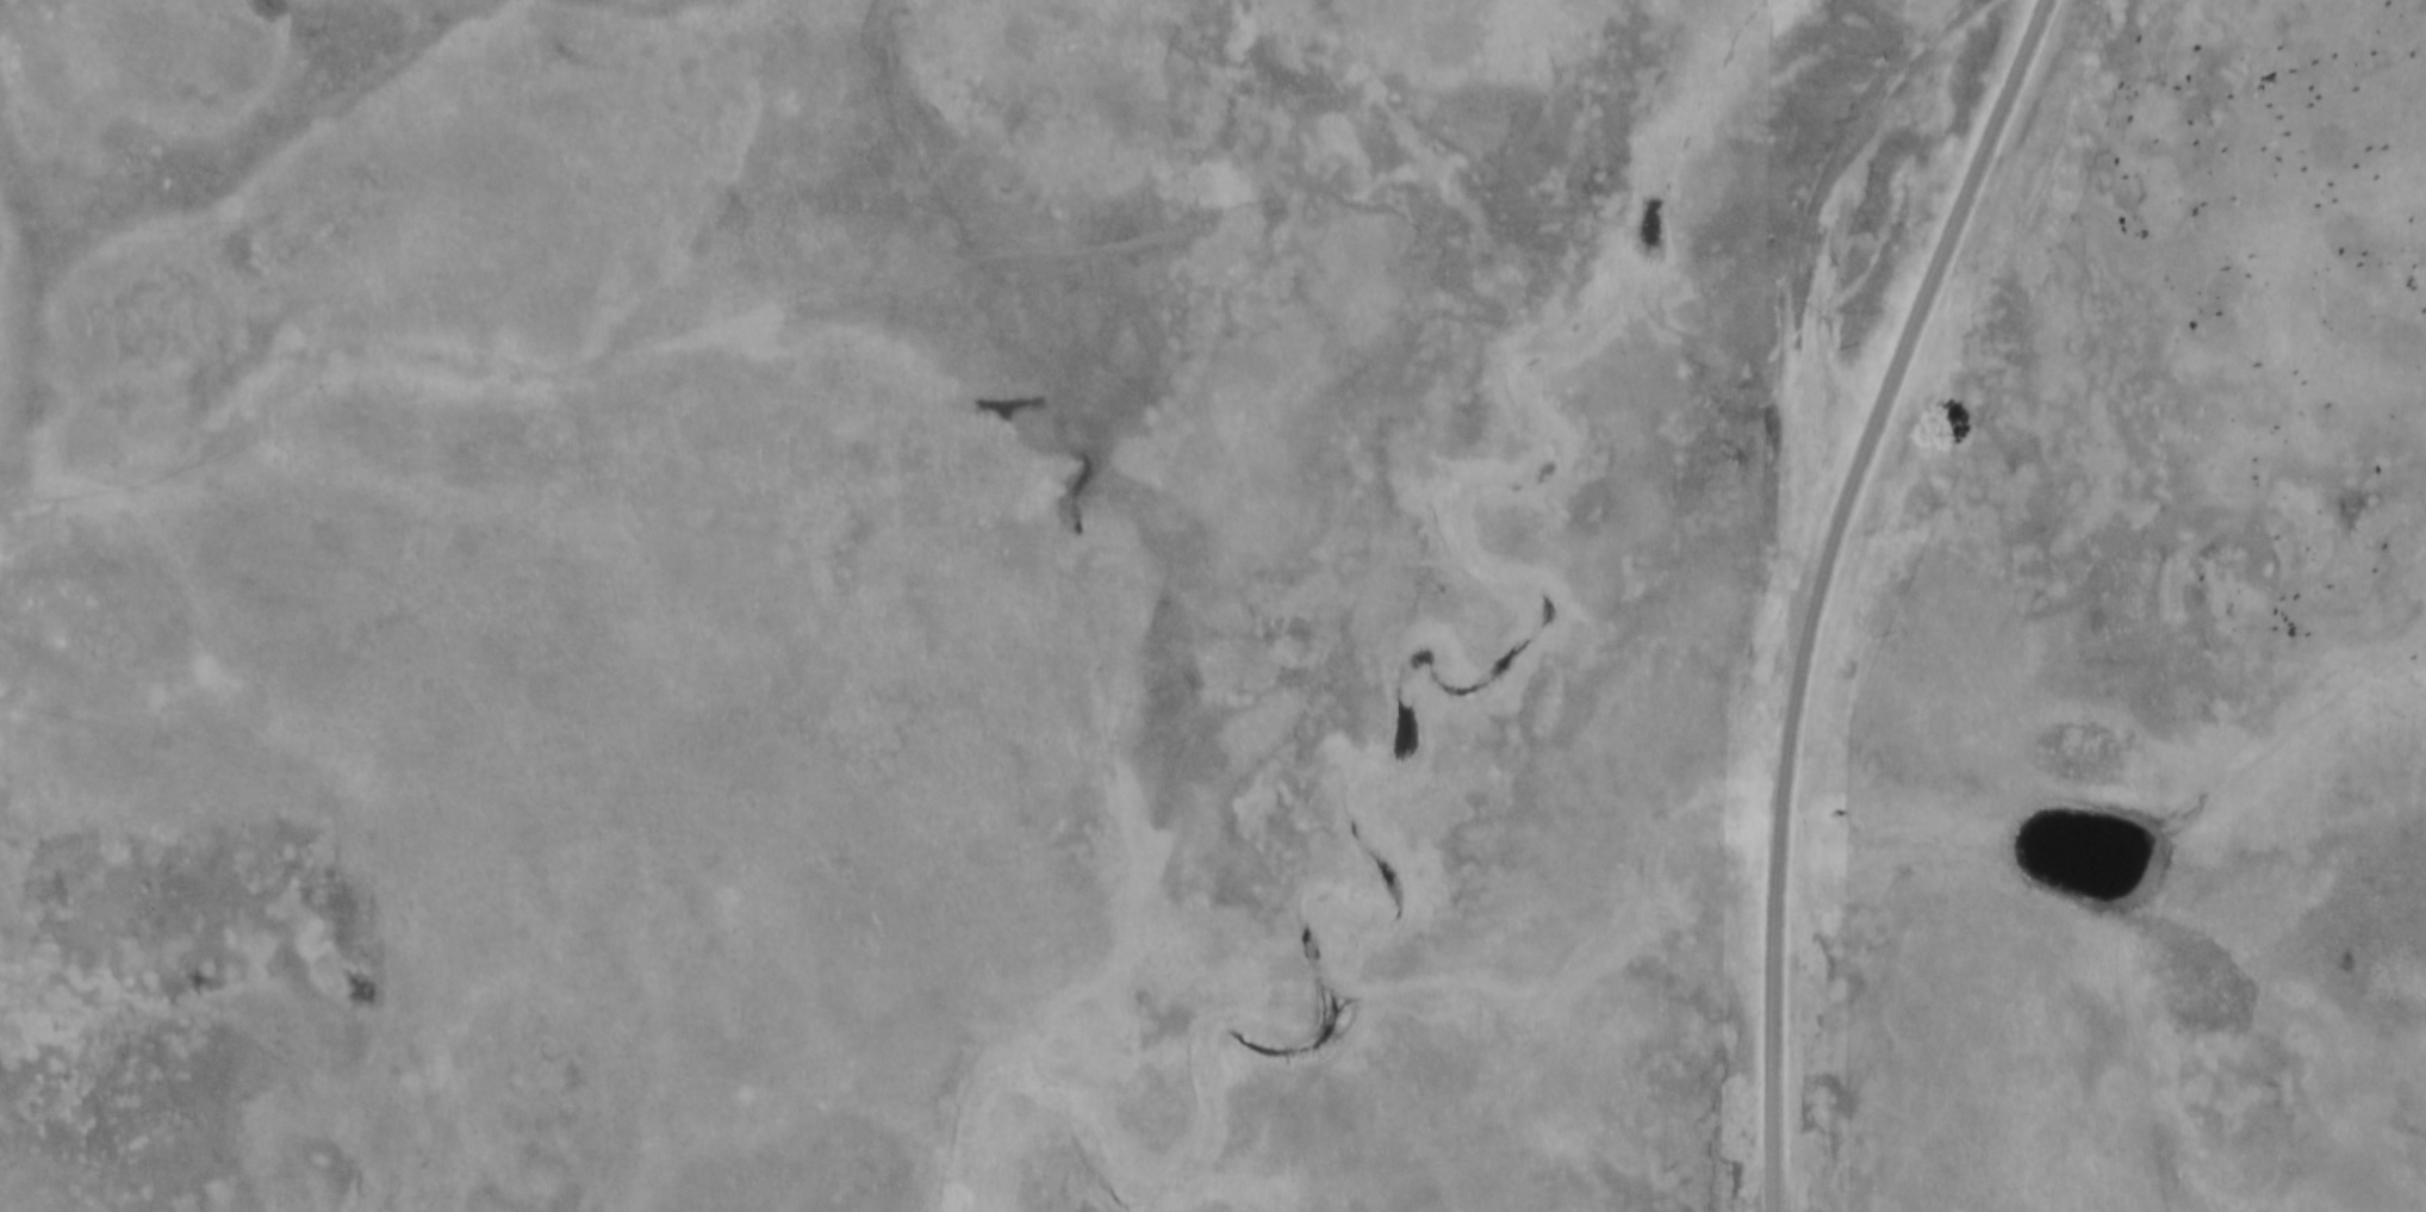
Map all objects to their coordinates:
road: (1821, 586)

